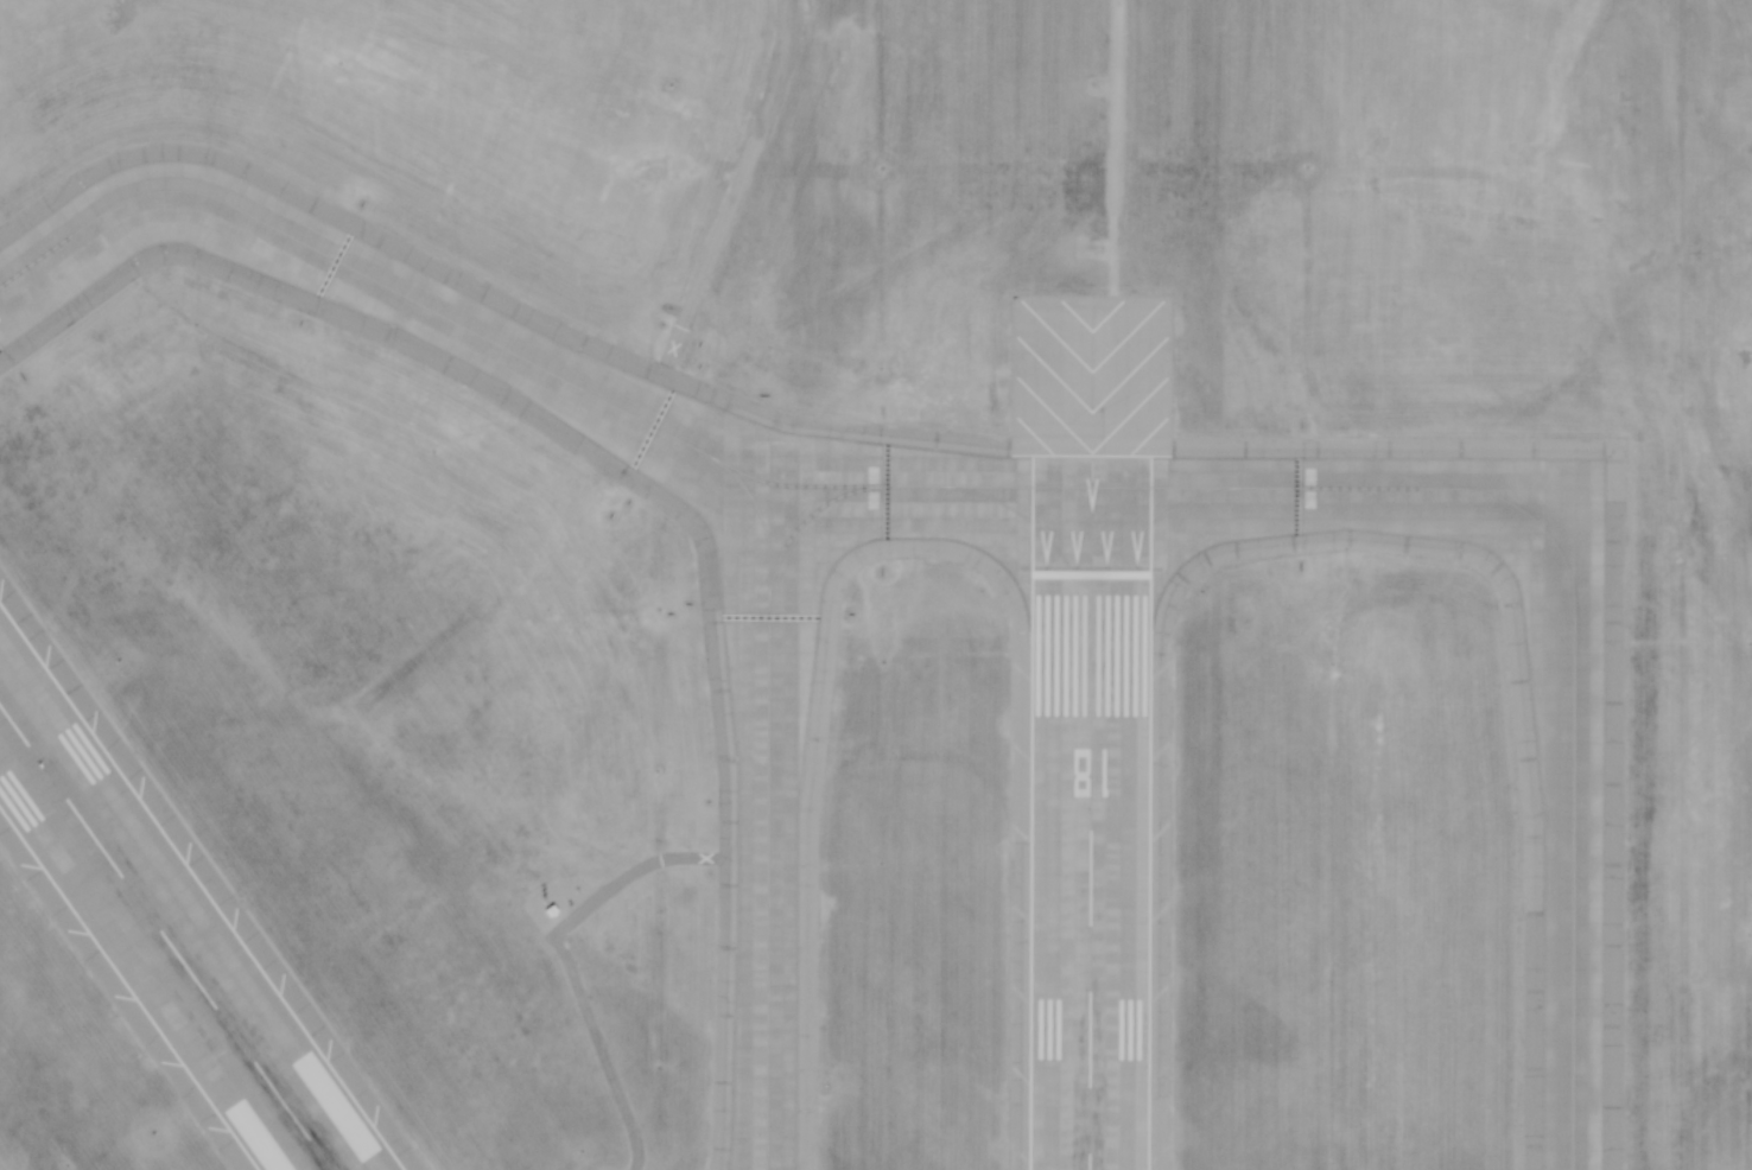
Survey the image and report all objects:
road: (1113, 147)
road: (723, 211)
airport taxiway: (527, 360)
airport runway: (1094, 515)
airport taxiway: (804, 521)
airport taxiway: (1045, 538)
airport taxiway: (1134, 538)
airport: (876, 585)
airport taxiway: (1573, 615)
airport taxiway: (769, 801)
airport runway: (1093, 870)
airport runway: (165, 937)
road: (558, 939)

